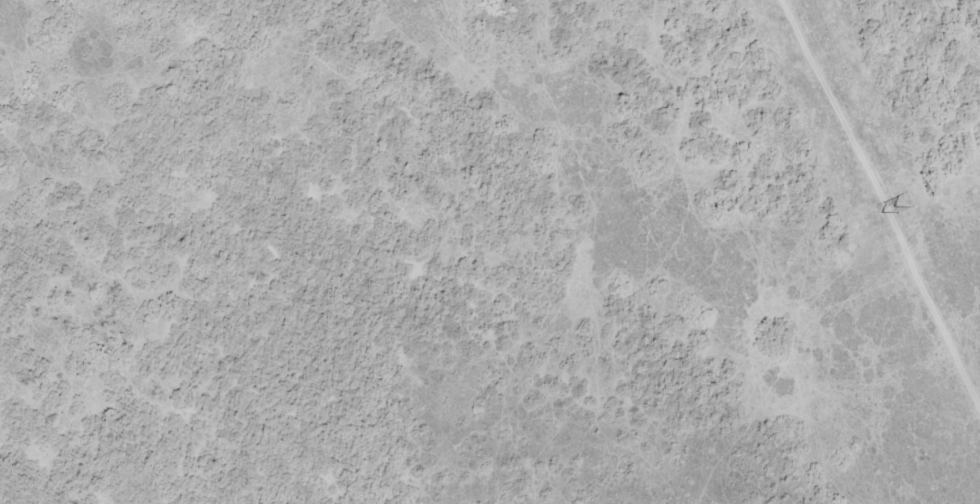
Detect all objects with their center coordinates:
power tower: (889, 211)

